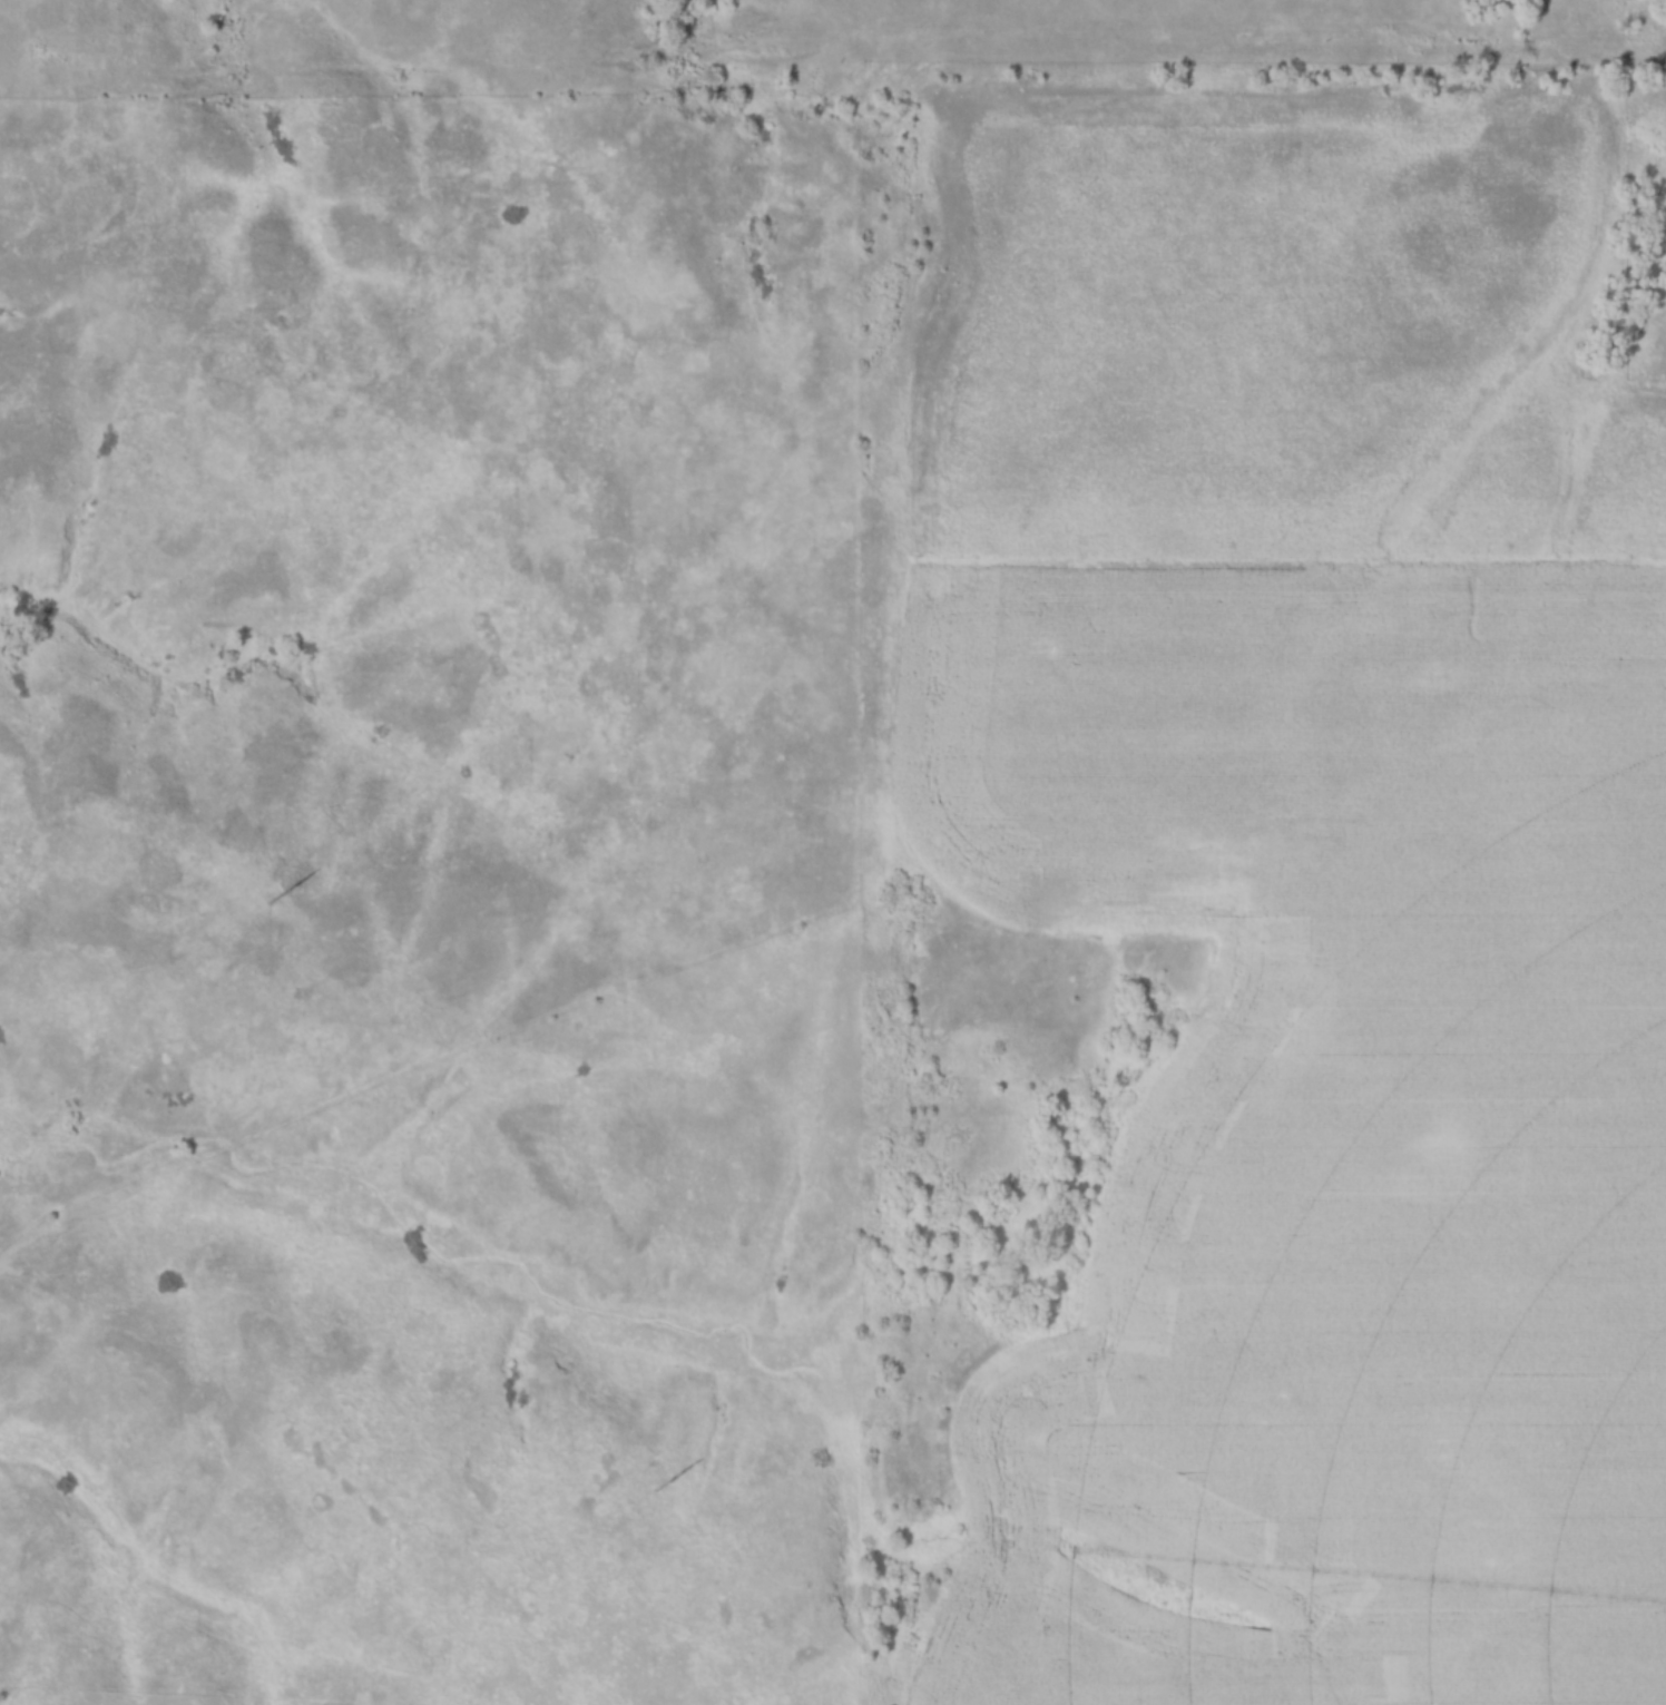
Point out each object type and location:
power tower: (286, 896)
power tower: (676, 1492)

